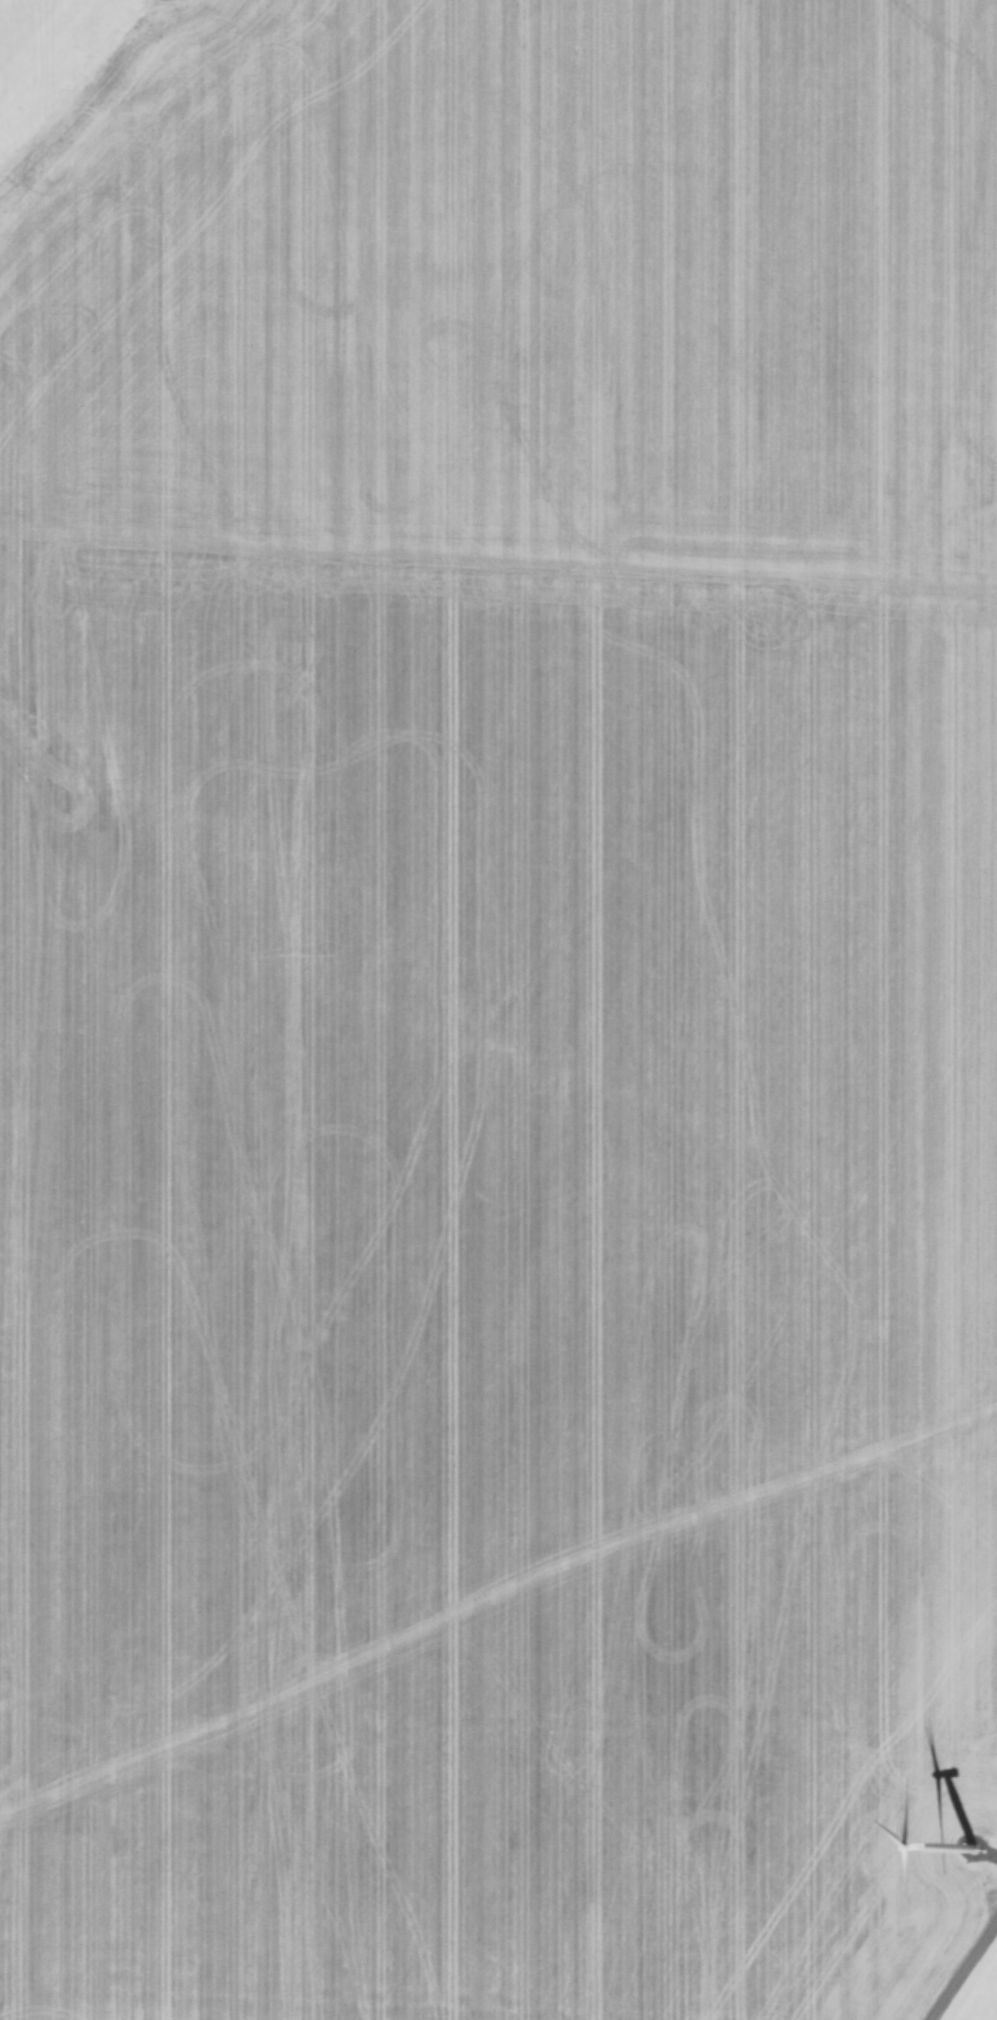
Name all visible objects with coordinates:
wind turbine: (940, 1856)
road: (957, 1960)

